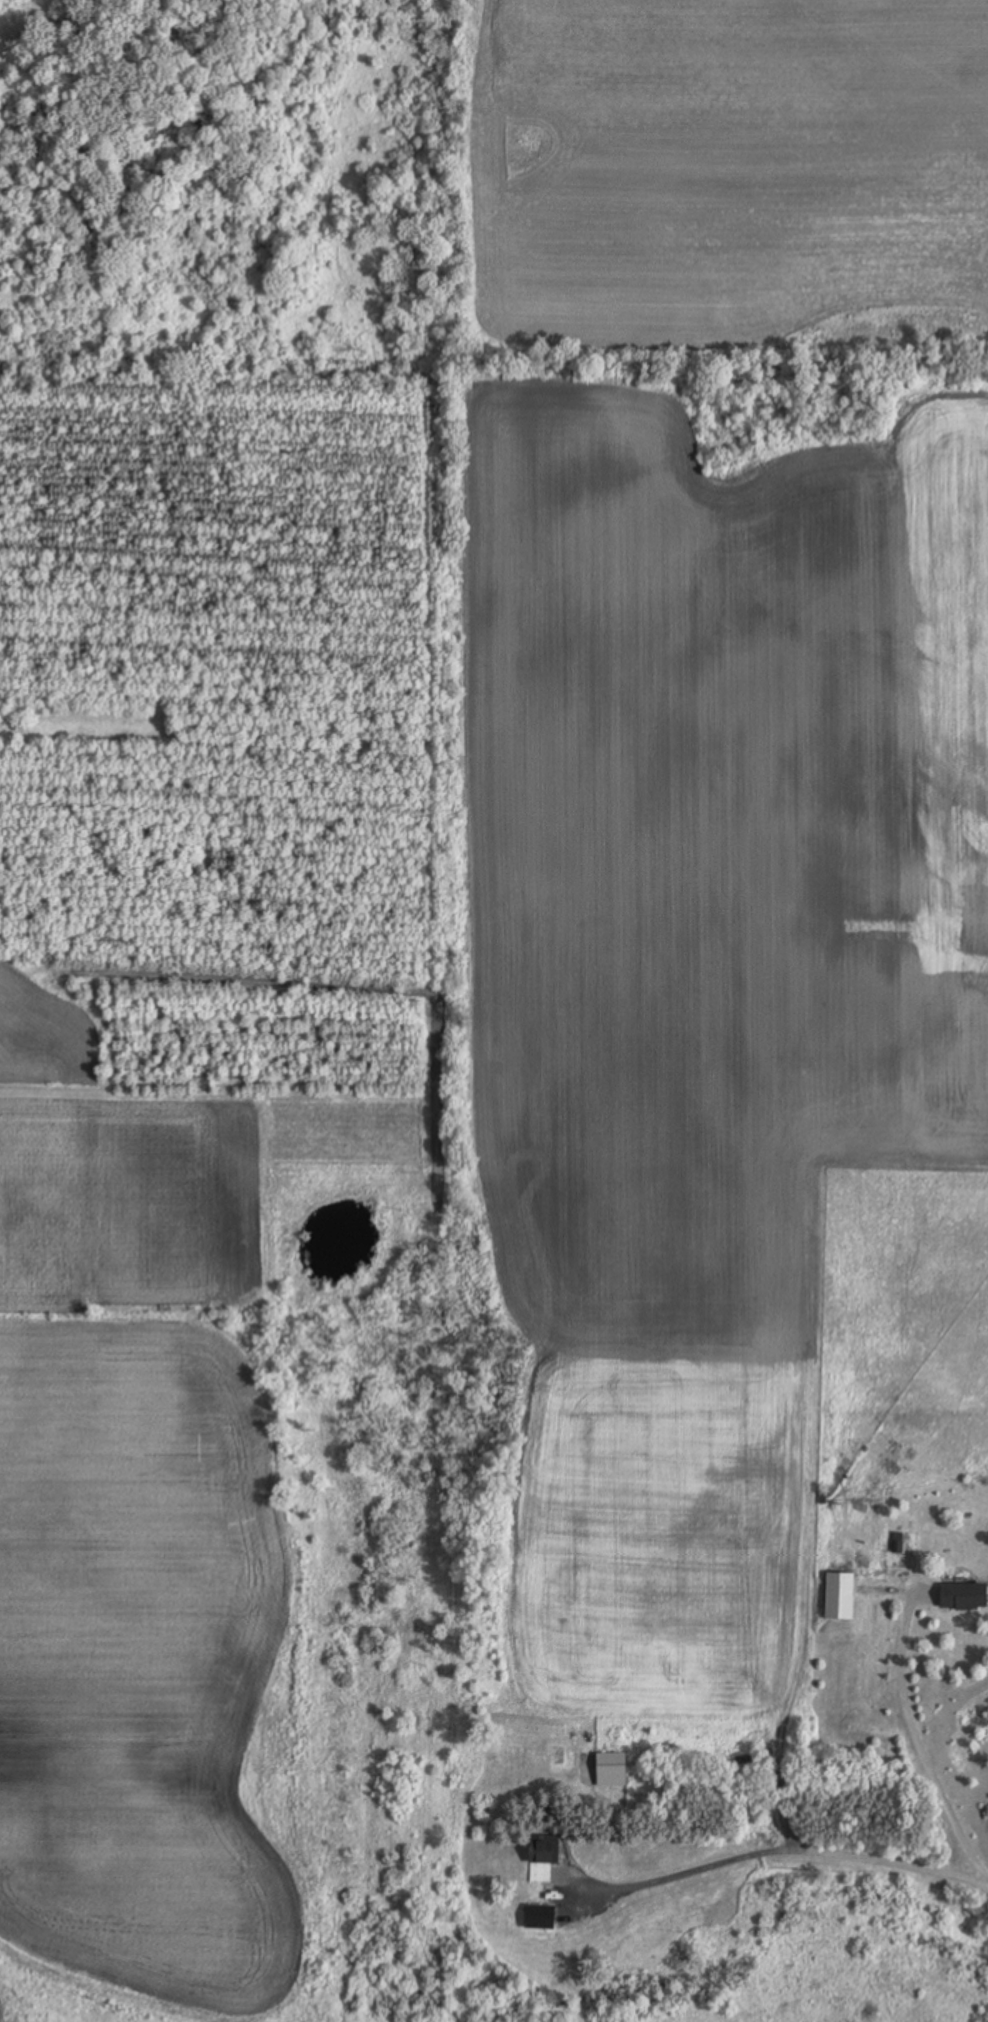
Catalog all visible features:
building: (962, 1595)
road: (919, 1747)
building: (610, 1769)
road: (782, 1851)
building: (540, 1859)
building: (539, 1918)

